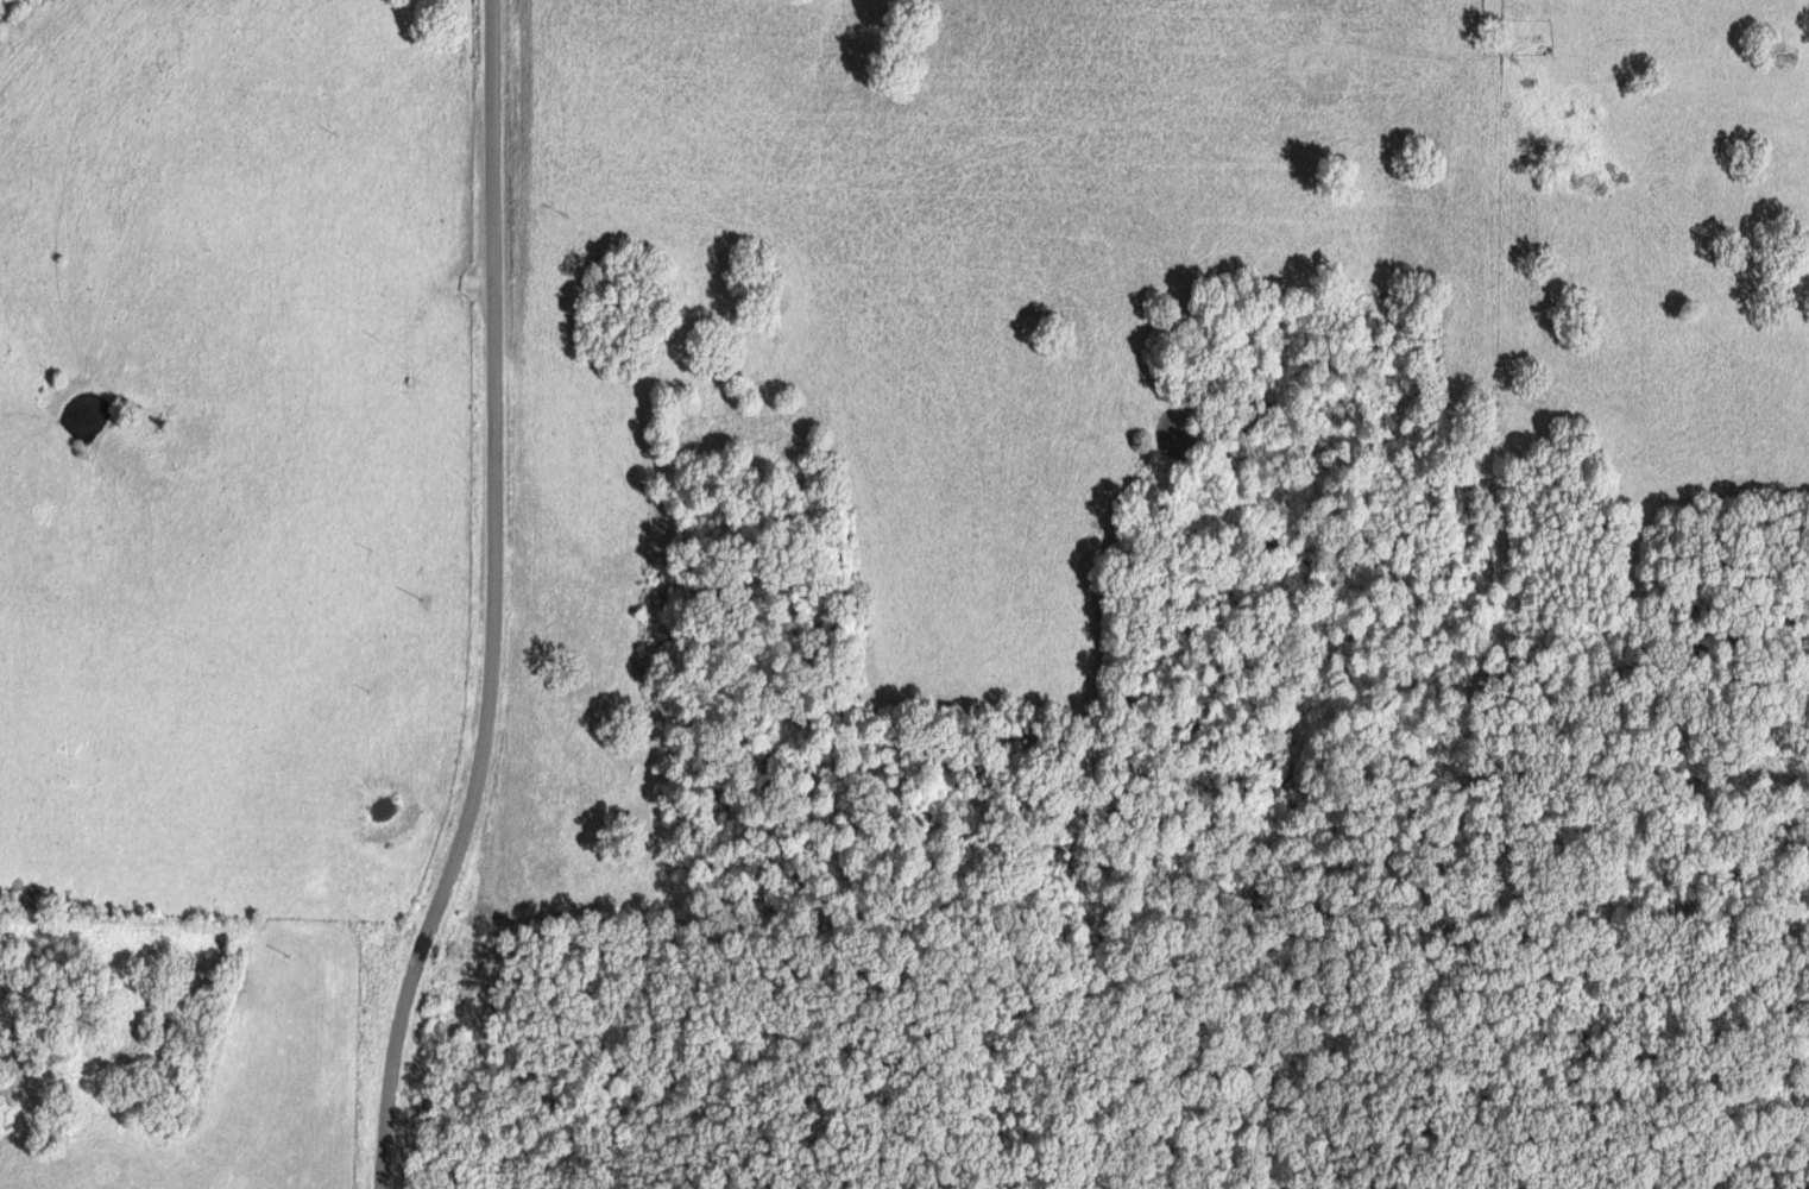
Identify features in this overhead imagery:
road: (5, 5)
road: (493, 622)

